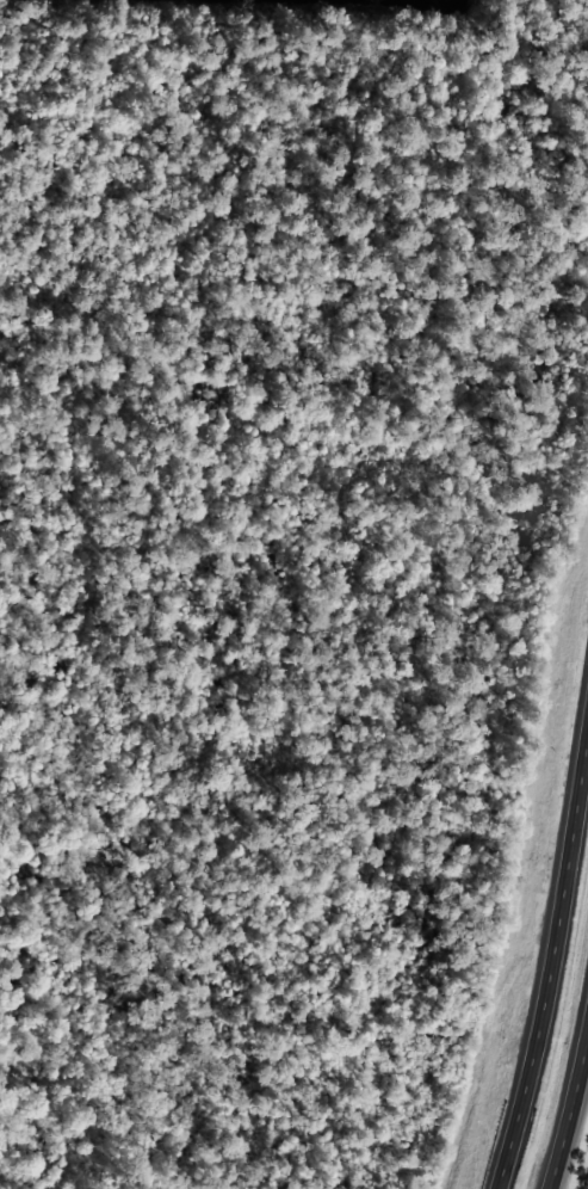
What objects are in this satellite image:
road: (551, 954)
road: (568, 1104)

